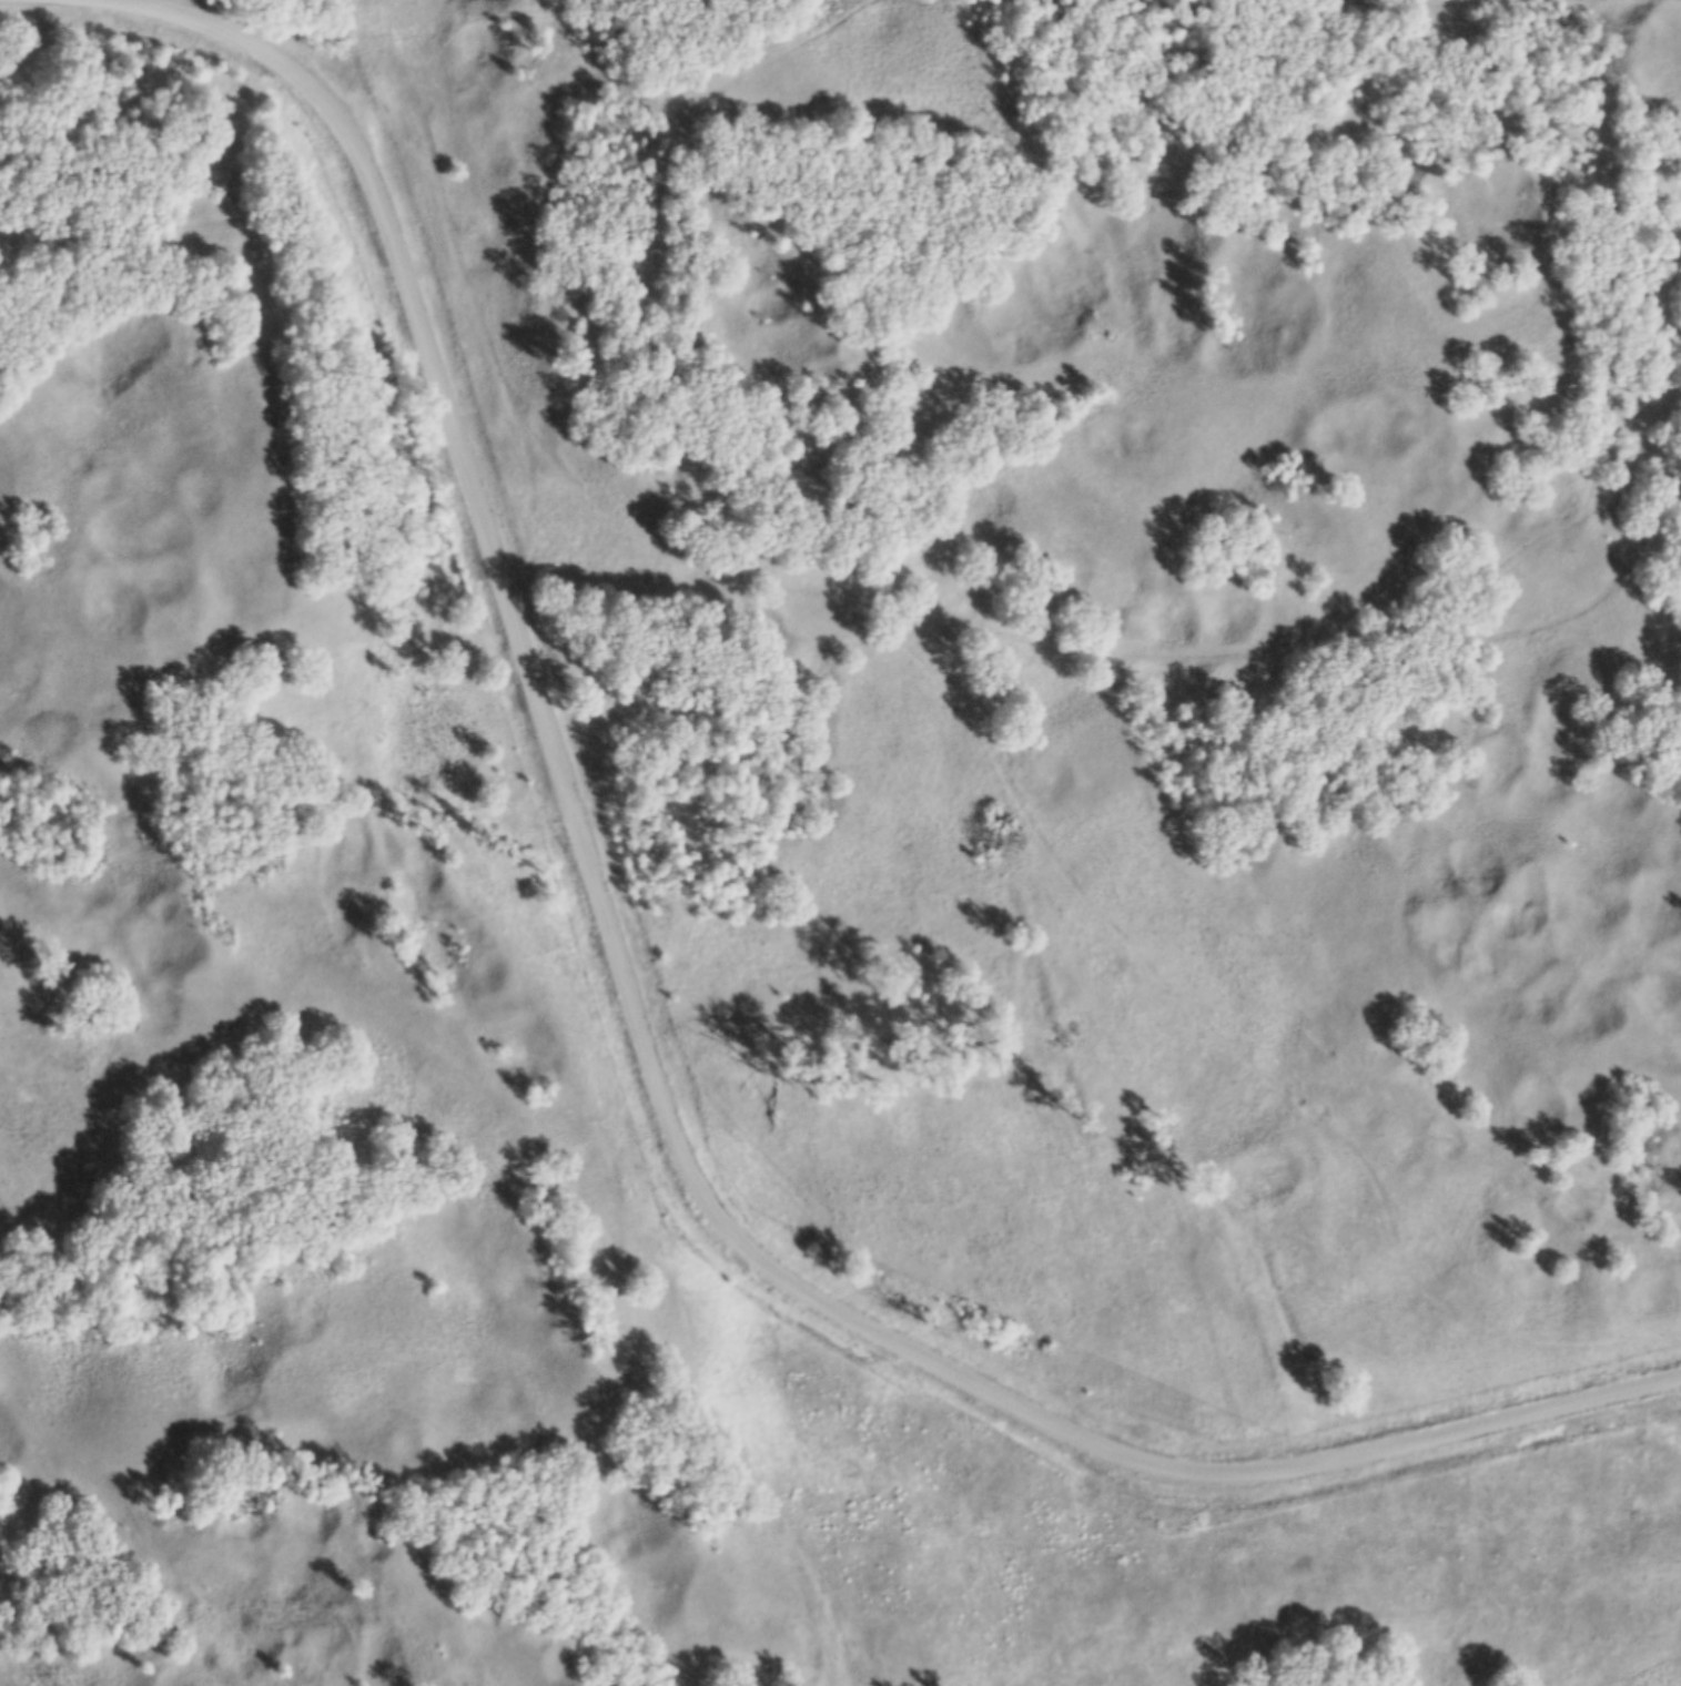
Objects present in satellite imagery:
road: (636, 1014)

